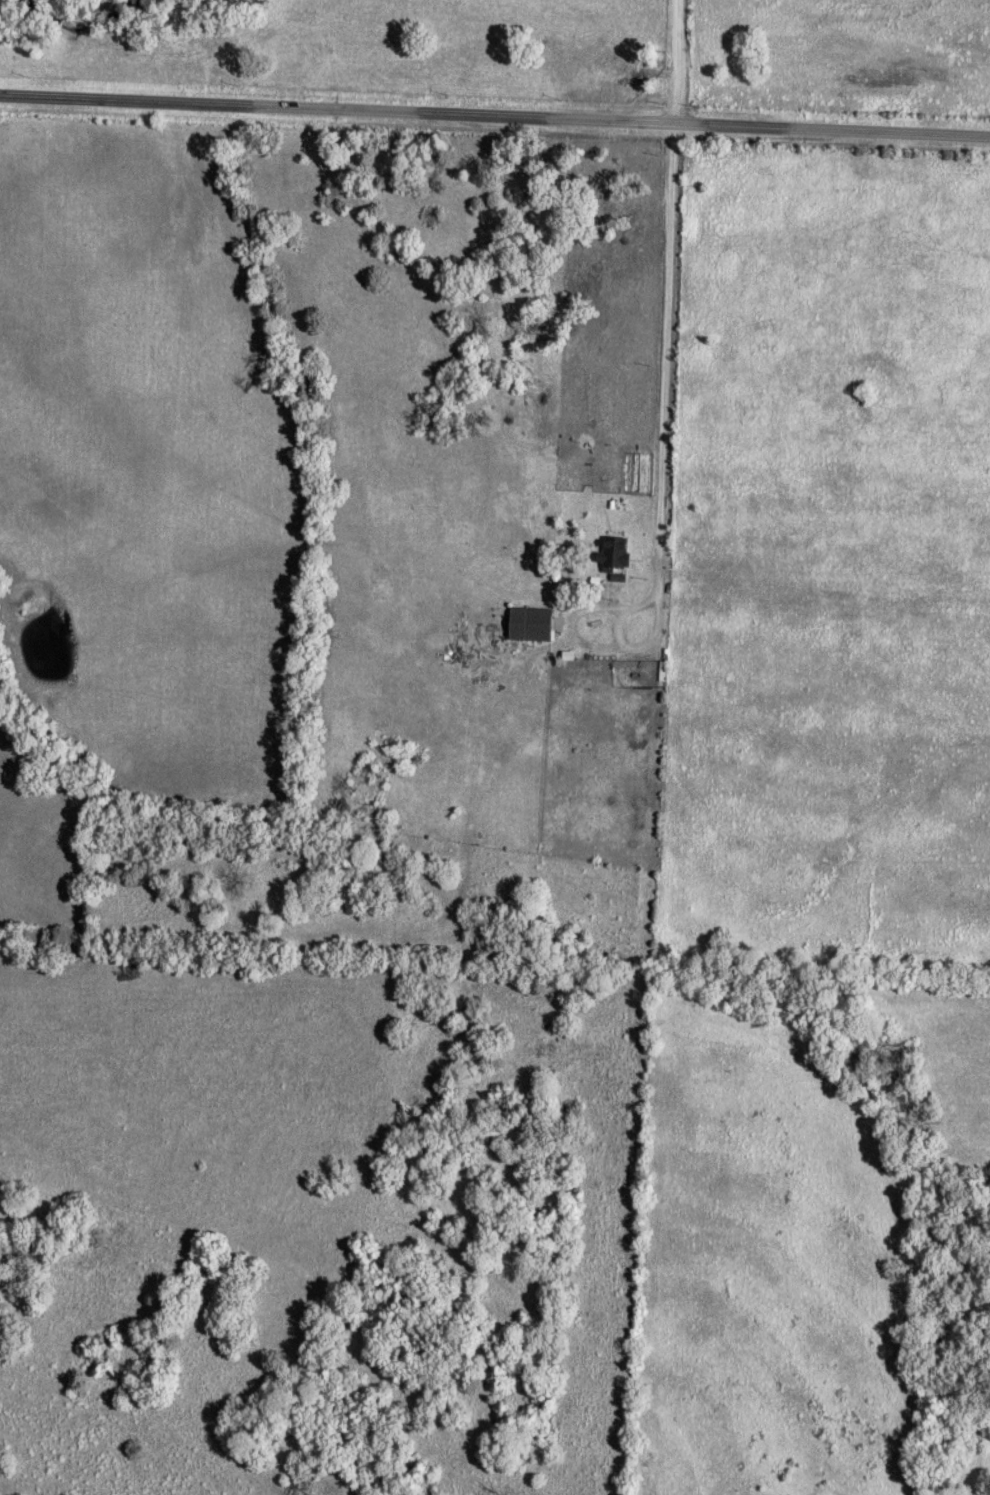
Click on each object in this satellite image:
road: (674, 61)
road: (494, 114)
road: (664, 356)
building: (616, 551)

